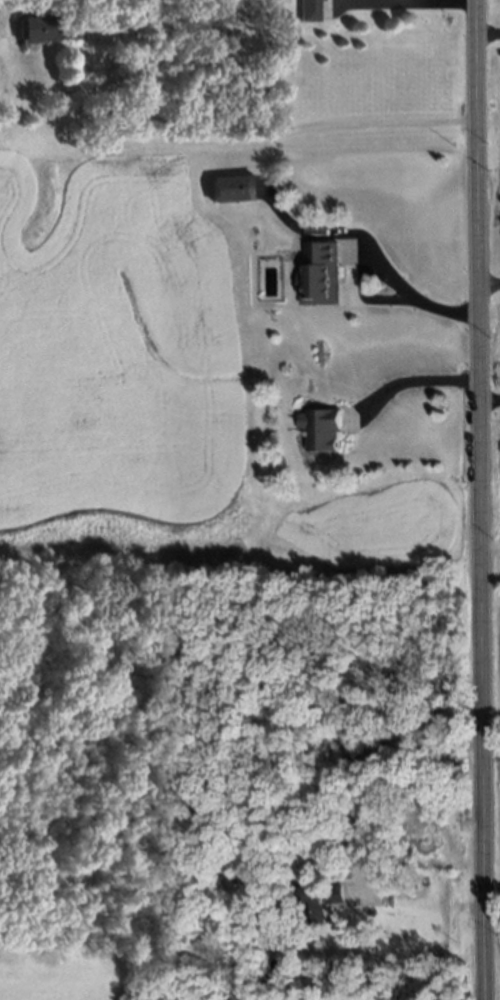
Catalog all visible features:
road: (384, 1)
building: (307, 9)
building: (31, 28)
road: (487, 31)
road: (254, 136)
building: (231, 188)
road: (381, 270)
building: (318, 273)
road: (488, 282)
road: (409, 379)
road: (488, 399)
building: (318, 430)
road: (477, 499)
road: (350, 761)
building: (318, 900)

